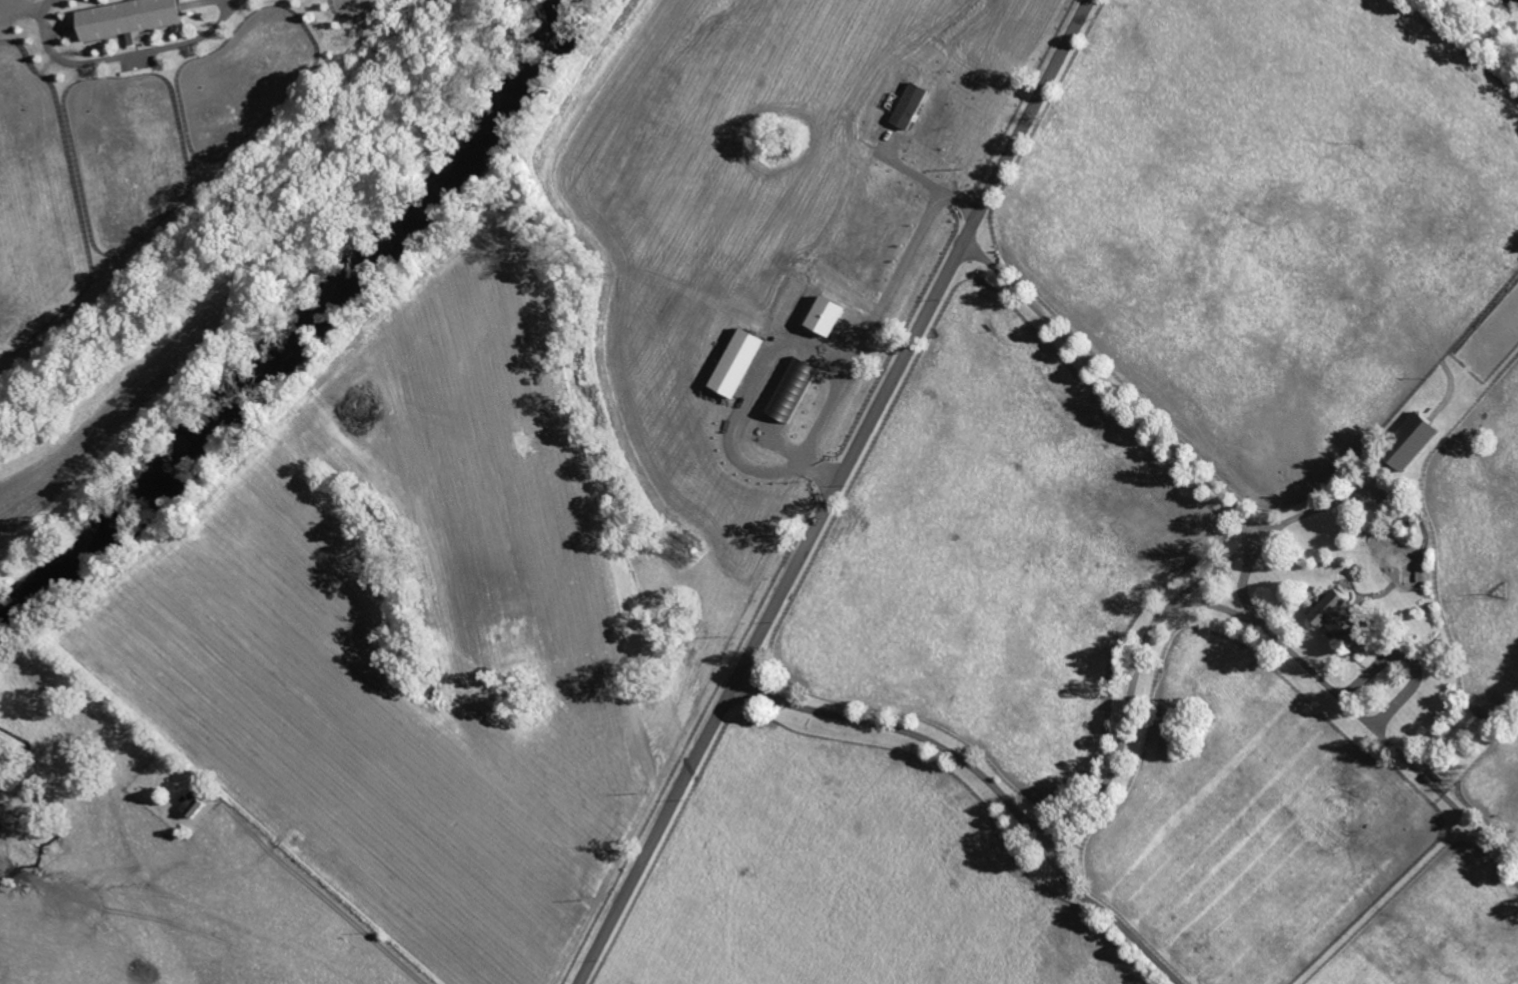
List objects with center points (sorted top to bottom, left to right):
building: (127, 19)
road: (121, 56)
building: (1405, 443)
road: (839, 491)
road: (1319, 507)
road: (1253, 552)
road: (1218, 607)
building: (1334, 622)
road: (1136, 677)
road: (991, 786)
road: (318, 894)

